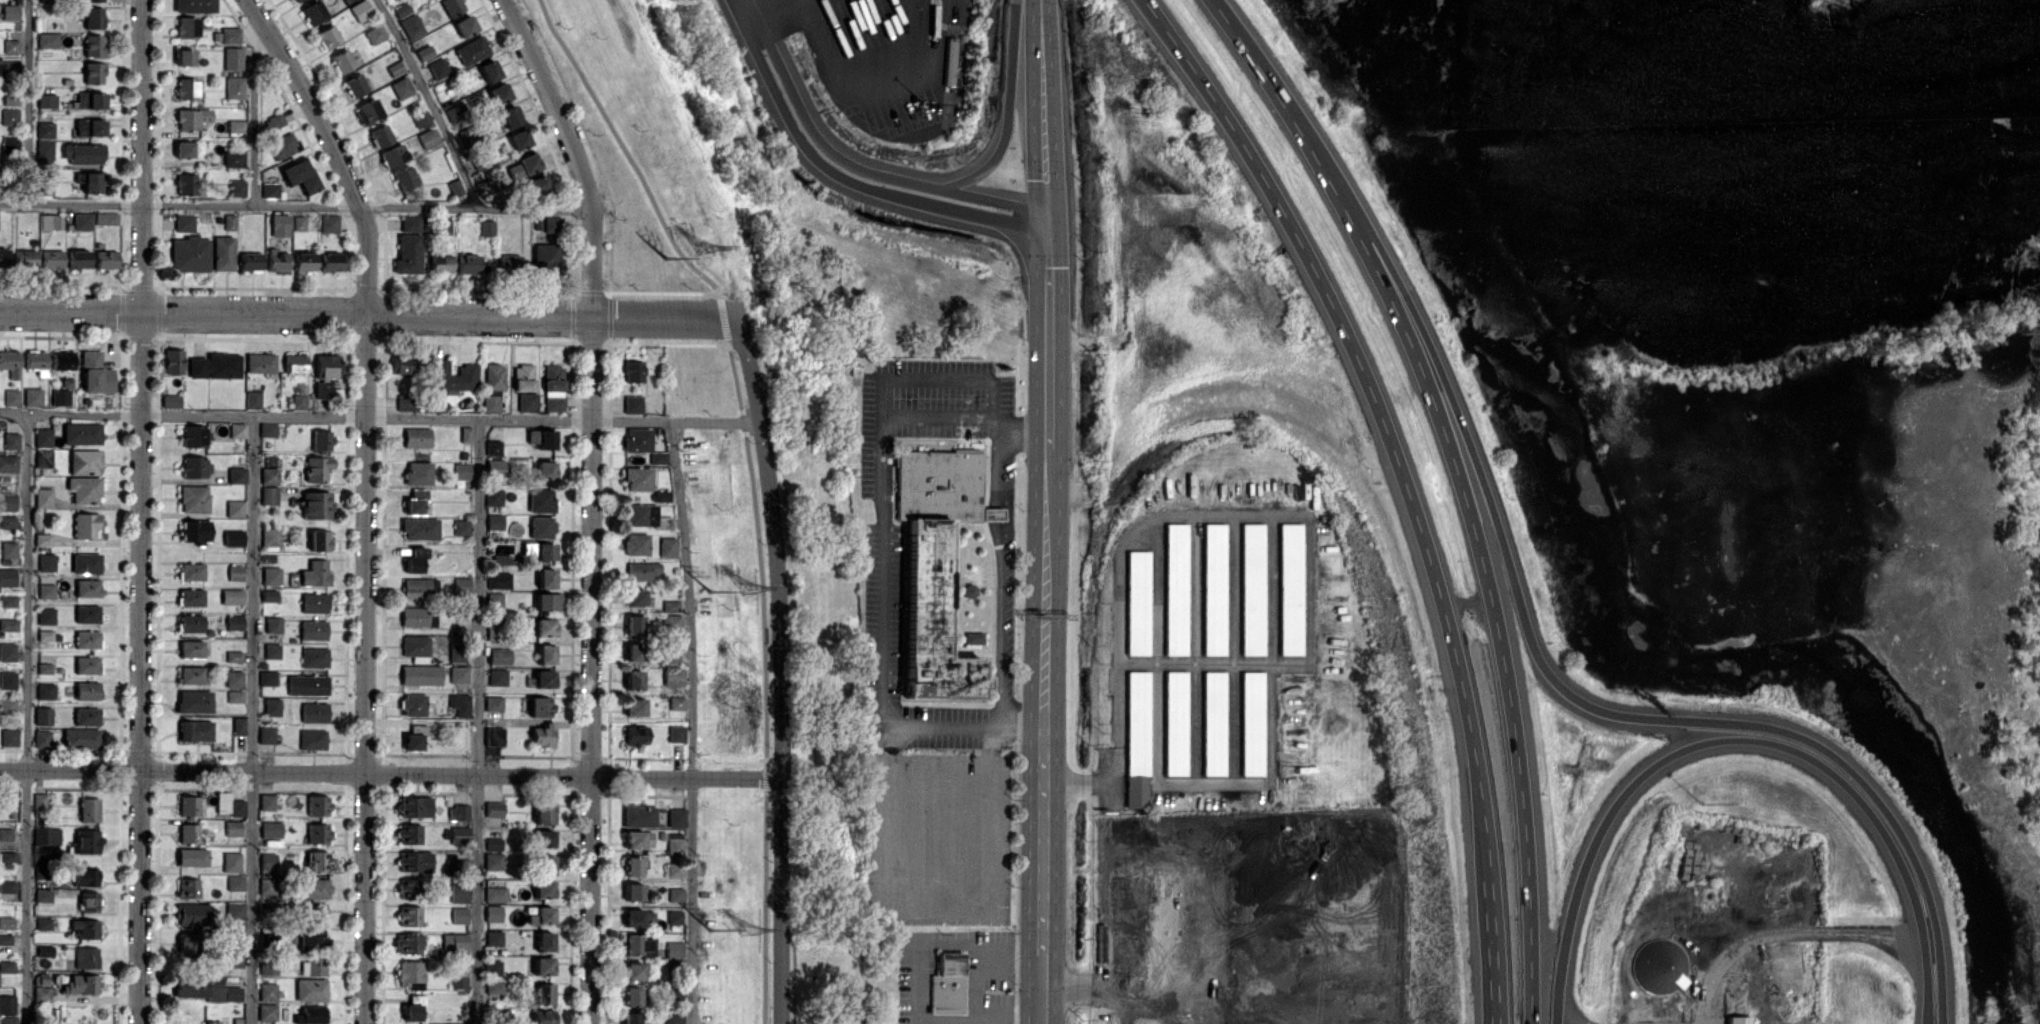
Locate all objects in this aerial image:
building: (92, 0)
building: (296, 0)
building: (345, 0)
building: (194, 6)
building: (451, 6)
building: (401, 9)
building: (360, 10)
building: (11, 12)
building: (313, 12)
building: (93, 18)
building: (464, 25)
building: (411, 26)
building: (186, 27)
building: (375, 33)
building: (230, 35)
building: (327, 36)
building: (47, 40)
building: (94, 45)
building: (11, 46)
building: (471, 50)
building: (424, 52)
building: (184, 57)
building: (233, 58)
building: (342, 61)
building: (951, 62)
building: (395, 68)
building: (438, 68)
building: (488, 70)
building: (93, 72)
road: (894, 83)
building: (355, 85)
building: (234, 87)
building: (401, 87)
building: (185, 89)
building: (498, 92)
building: (90, 100)
building: (47, 101)
road: (26, 103)
road: (429, 103)
building: (368, 109)
building: (453, 112)
road: (252, 115)
building: (10, 116)
building: (510, 116)
building: (191, 118)
building: (421, 120)
building: (274, 121)
building: (236, 126)
building: (89, 127)
building: (45, 130)
building: (469, 135)
building: (379, 136)
building: (428, 138)
building: (518, 139)
building: (10, 145)
building: (283, 145)
road: (625, 148)
building: (183, 149)
road: (329, 150)
building: (44, 151)
building: (82, 153)
road: (575, 153)
building: (393, 155)
building: (233, 159)
building: (523, 165)
building: (301, 175)
building: (403, 177)
road: (845, 177)
building: (92, 182)
road: (931, 182)
building: (185, 184)
building: (485, 186)
building: (535, 186)
building: (237, 187)
building: (270, 190)
road: (298, 208)
building: (106, 218)
building: (49, 221)
building: (81, 221)
building: (229, 221)
building: (184, 222)
building: (299, 222)
building: (329, 223)
building: (410, 223)
building: (280, 225)
building: (547, 225)
building: (487, 227)
traffic signals: (1048, 239)
power tower: (702, 245)
building: (223, 253)
building: (408, 253)
building: (189, 254)
building: (3, 257)
building: (546, 257)
building: (24, 258)
building: (51, 258)
power tower: (668, 259)
building: (78, 260)
building: (106, 260)
building: (250, 261)
building: (277, 261)
building: (304, 261)
building: (332, 262)
building: (441, 262)
building: (469, 264)
building: (509, 264)
road: (369, 316)
road: (723, 318)
road: (1047, 358)
building: (62, 360)
building: (36, 361)
building: (172, 361)
building: (10, 362)
building: (260, 362)
building: (295, 363)
building: (402, 365)
building: (215, 366)
building: (632, 371)
building: (95, 373)
building: (325, 373)
building: (455, 376)
building: (494, 376)
building: (523, 377)
road: (944, 378)
building: (554, 385)
building: (32, 396)
building: (11, 397)
building: (60, 397)
building: (252, 399)
building: (170, 400)
building: (299, 401)
building: (405, 402)
building: (527, 402)
building: (491, 403)
building: (632, 404)
road: (1379, 413)
road: (378, 417)
building: (237, 430)
building: (268, 430)
building: (81, 433)
building: (465, 434)
building: (193, 436)
building: (42, 437)
building: (416, 437)
building: (546, 439)
building: (637, 439)
building: (321, 440)
building: (11, 441)
building: (493, 447)
building: (658, 457)
building: (43, 458)
building: (84, 462)
building: (8, 463)
road: (999, 463)
building: (193, 467)
building: (495, 467)
building: (317, 468)
building: (544, 469)
building: (461, 471)
building: (418, 473)
building: (236, 475)
building: (269, 475)
building: (637, 478)
road: (1460, 484)
building: (84, 489)
building: (268, 495)
building: (661, 496)
building: (493, 497)
building: (43, 498)
building: (193, 499)
building: (415, 501)
building: (540, 501)
building: (7, 502)
building: (316, 505)
building: (234, 508)
road: (138, 512)
road: (996, 513)
building: (640, 515)
building: (7, 521)
building: (494, 522)
building: (85, 525)
building: (461, 527)
building: (541, 527)
building: (419, 529)
building: (194, 531)
building: (270, 536)
building: (233, 538)
building: (42, 539)
building: (319, 540)
building: (636, 544)
building: (667, 546)
road: (774, 549)
road: (1309, 550)
building: (7, 551)
road: (759, 551)
building: (544, 552)
building: (504, 559)
building: (414, 560)
building: (46, 562)
building: (85, 563)
building: (933, 564)
building: (641, 570)
building: (191, 571)
building: (235, 572)
building: (315, 573)
building: (271, 575)
building: (7, 577)
building: (545, 578)
building: (498, 580)
building: (461, 584)
power tower: (749, 586)
building: (88, 588)
building: (418, 588)
building: (1176, 589)
building: (1214, 589)
building: (1252, 589)
building: (1291, 589)
building: (46, 591)
power tower: (710, 591)
building: (268, 595)
building: (231, 596)
building: (190, 597)
building: (635, 597)
building: (8, 600)
building: (494, 600)
building: (547, 601)
building: (314, 602)
building: (1137, 602)
building: (671, 605)
building: (86, 614)
building: (46, 616)
building: (414, 616)
road: (1000, 620)
building: (234, 622)
building: (671, 622)
building: (191, 623)
building: (8, 624)
building: (272, 624)
building: (633, 625)
building: (544, 627)
building: (313, 630)
building: (45, 635)
building: (973, 637)
building: (86, 639)
building: (415, 646)
building: (191, 649)
building: (7, 651)
building: (272, 651)
building: (632, 652)
building: (457, 653)
building: (545, 654)
building: (234, 656)
building: (498, 656)
building: (314, 657)
road: (1214, 664)
building: (86, 665)
building: (44, 668)
road: (365, 669)
road: (593, 671)
building: (458, 674)
building: (191, 675)
building: (420, 675)
building: (497, 677)
building: (673, 677)
building: (233, 678)
building: (267, 678)
building: (543, 679)
building: (8, 680)
building: (633, 680)
building: (307, 685)
building: (44, 690)
building: (86, 691)
road: (1568, 692)
road: (884, 694)
building: (235, 696)
building: (194, 701)
building: (676, 702)
building: (493, 703)
building: (413, 704)
building: (460, 704)
building: (8, 706)
building: (271, 706)
building: (539, 707)
building: (634, 707)
building: (314, 713)
building: (42, 716)
building: (86, 716)
road: (28, 718)
road: (251, 719)
road: (1023, 719)
road: (481, 720)
road: (692, 720)
building: (1175, 723)
building: (1213, 723)
building: (1252, 723)
building: (238, 726)
road: (942, 729)
building: (195, 731)
building: (676, 733)
building: (266, 735)
building: (542, 735)
building: (636, 735)
building: (493, 736)
building: (9, 737)
building: (41, 739)
building: (80, 739)
building: (312, 739)
building: (1136, 740)
road: (1716, 740)
building: (412, 742)
road: (393, 776)
road: (767, 777)
building: (39, 800)
building: (266, 802)
building: (229, 805)
building: (317, 805)
building: (188, 806)
building: (414, 807)
building: (494, 809)
building: (88, 810)
building: (458, 812)
building: (544, 813)
building: (638, 816)
building: (676, 817)
building: (232, 828)
building: (270, 829)
building: (188, 833)
building: (317, 833)
building: (5, 834)
building: (409, 834)
building: (459, 835)
building: (47, 836)
building: (544, 838)
building: (636, 840)
building: (87, 842)
building: (492, 843)
building: (674, 845)
building: (8, 856)
building: (191, 857)
building: (231, 861)
building: (268, 861)
building: (317, 861)
building: (415, 861)
building: (493, 861)
building: (544, 865)
building: (456, 866)
building: (633, 866)
building: (674, 870)
road: (1045, 870)
building: (85, 878)
building: (235, 883)
building: (7, 886)
building: (188, 887)
building: (268, 887)
building: (314, 888)
building: (408, 888)
building: (542, 889)
building: (458, 893)
building: (633, 893)
building: (495, 894)
building: (675, 895)
building: (42, 896)
building: (88, 901)
road: (785, 902)
building: (267, 909)
building: (234, 910)
building: (313, 910)
road: (765, 910)
building: (493, 913)
building: (191, 914)
building: (459, 915)
building: (540, 915)
building: (408, 916)
building: (638, 917)
building: (674, 917)
building: (6, 923)
building: (43, 923)
building: (86, 928)
power tower: (748, 928)
power tower: (710, 929)
road: (1784, 934)
building: (493, 938)
building: (5, 939)
building: (313, 939)
building: (454, 941)
building: (544, 941)
building: (188, 943)
building: (408, 943)
building: (638, 945)
building: (673, 948)
road: (1498, 949)
building: (44, 951)
building: (891, 951)
building: (86, 957)
building: (233, 960)
building: (1658, 965)
building: (7, 967)
building: (313, 967)
building: (491, 967)
building: (542, 967)
building: (633, 971)
building: (409, 974)
building: (458, 980)
building: (80, 984)
building: (947, 985)
building: (494, 987)
building: (205, 989)
building: (310, 990)
building: (267, 991)
building: (544, 993)
building: (41, 994)
building: (631, 996)
road: (1924, 1001)
road: (1926, 1001)
building: (7, 1005)
building: (267, 1012)
building: (411, 1012)
building: (542, 1017)
building: (630, 1018)
building: (674, 1019)
building: (1737, 1019)
building: (8, 1020)

